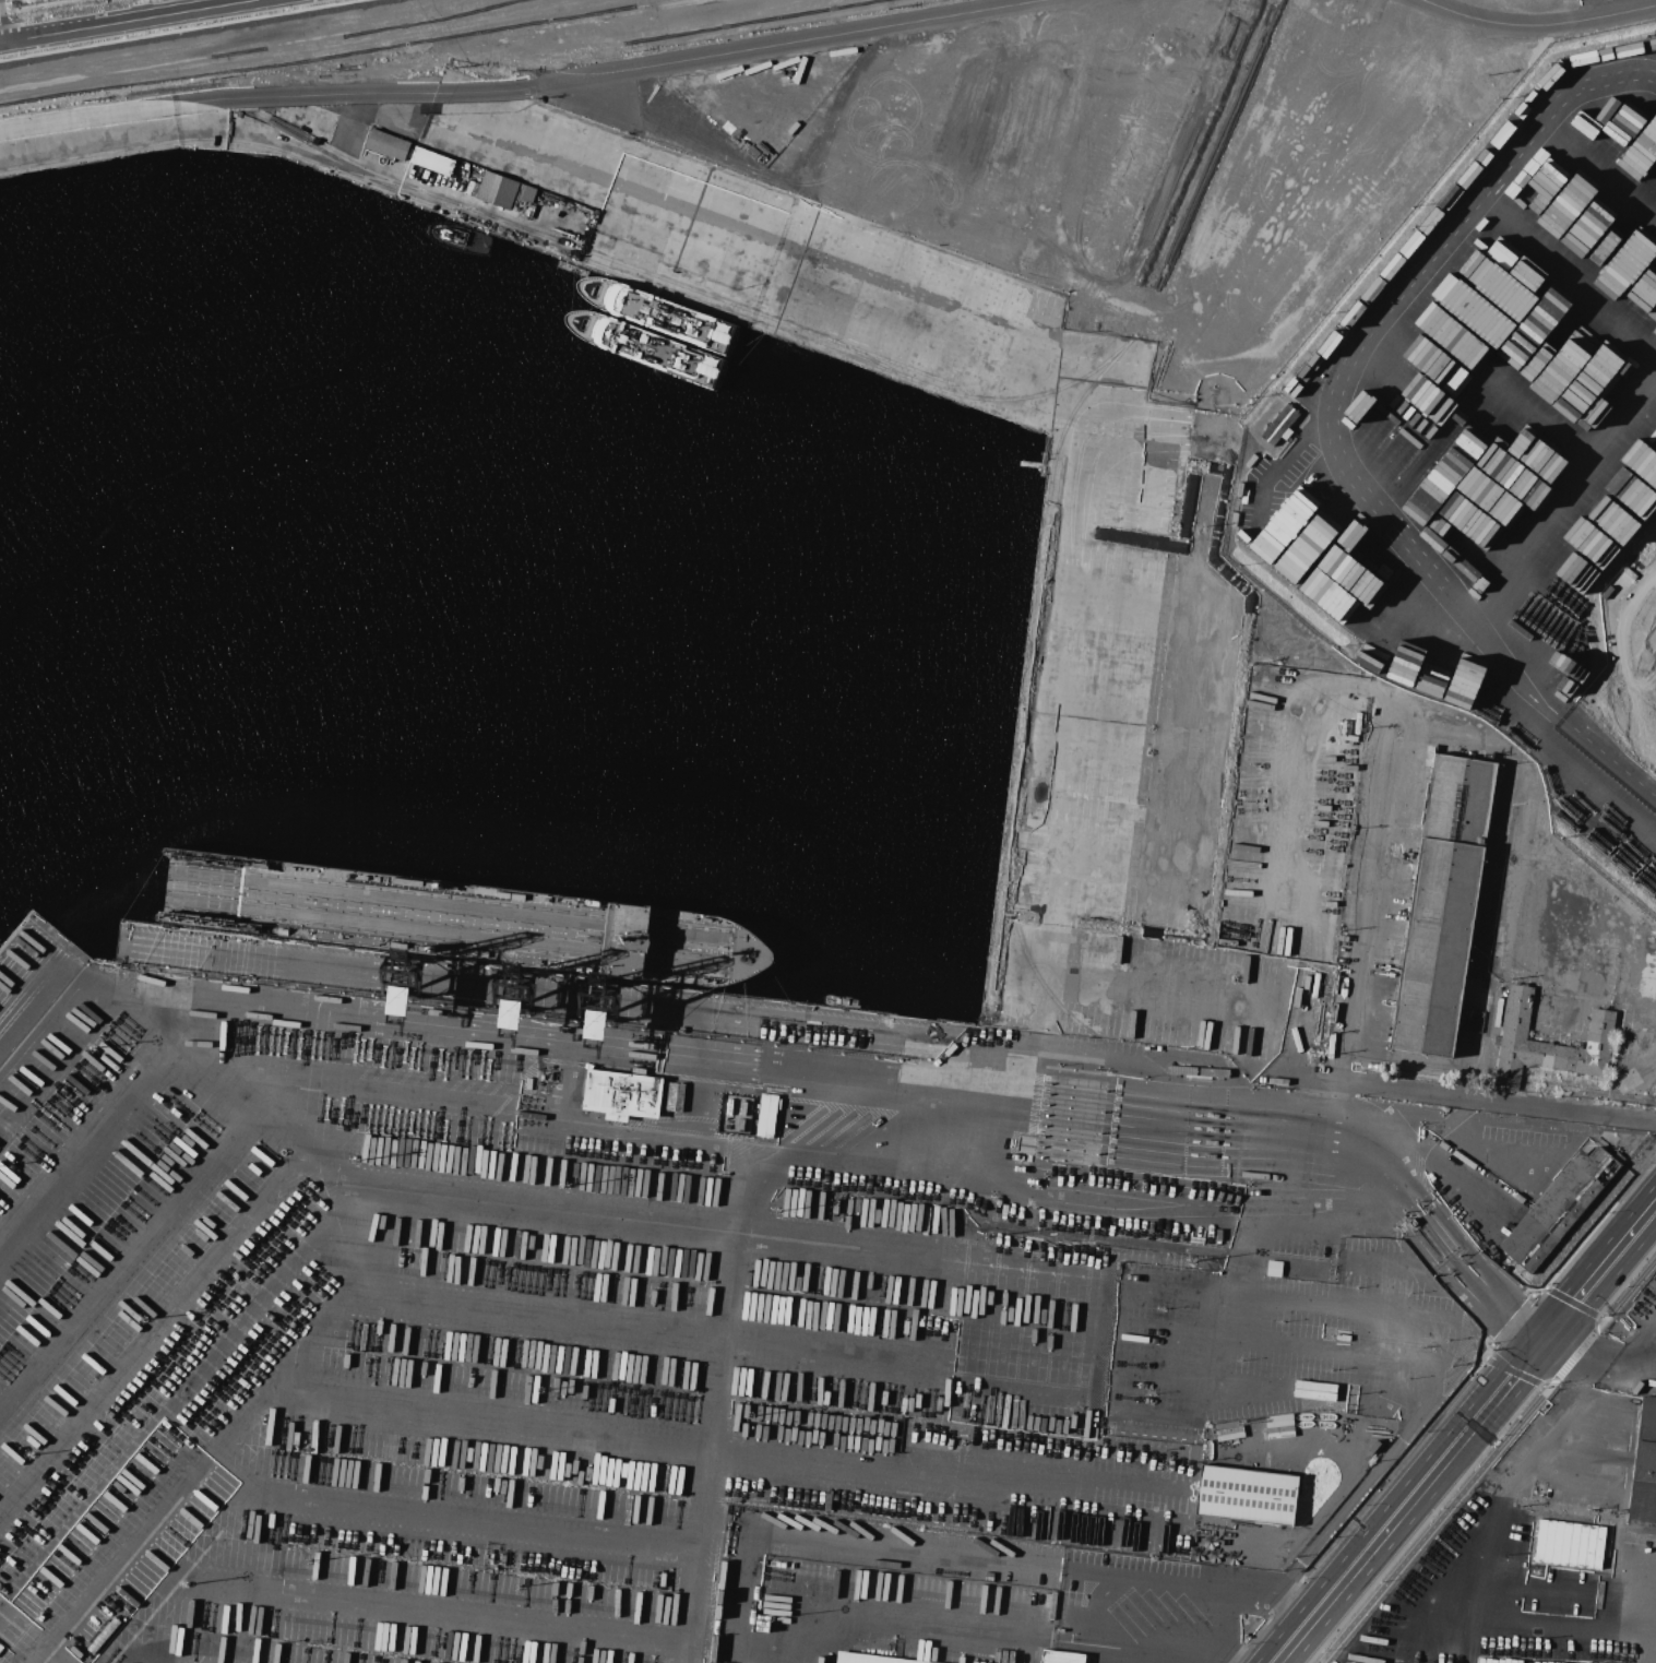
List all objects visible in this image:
road: (123, 21)
road: (1540, 24)
road: (0, 37)
road: (514, 88)
road: (843, 95)
road: (692, 135)
building: (389, 144)
building: (432, 161)
road: (402, 182)
building: (473, 188)
building: (498, 189)
building: (526, 192)
road: (650, 197)
road: (796, 240)
road: (1351, 353)
building: (1279, 424)
road: (1559, 495)
parking lot: (1641, 602)
road: (1653, 651)
road: (1651, 655)
road: (1653, 655)
road: (1621, 689)
road: (1604, 713)
parking lot: (1646, 732)
road: (1297, 740)
road: (1601, 750)
road: (1375, 890)
building: (1442, 905)
building: (627, 940)
building: (400, 1000)
building: (1515, 1021)
road: (85, 1022)
building: (594, 1025)
road: (517, 1041)
road: (1612, 1086)
building: (622, 1094)
building: (677, 1096)
road: (1458, 1097)
building: (767, 1115)
road: (507, 1124)
road: (103, 1129)
building: (1559, 1207)
road: (1646, 1212)
road: (701, 1227)
road: (369, 1238)
road: (1592, 1279)
road: (1631, 1287)
road: (1238, 1292)
road: (1496, 1302)
road: (1573, 1302)
road: (480, 1305)
road: (1348, 1305)
road: (1511, 1319)
traffic signals: (1546, 1334)
road: (1640, 1342)
road: (1577, 1353)
road: (1597, 1359)
road: (1514, 1371)
road: (9, 1378)
building: (1314, 1390)
road: (715, 1409)
road: (1397, 1438)
road: (727, 1442)
building: (1644, 1471)
building: (1247, 1495)
road: (1410, 1498)
road: (1497, 1510)
road: (470, 1517)
road: (1433, 1525)
building: (1572, 1540)
road: (1047, 1567)
road: (1118, 1576)
road: (1615, 1600)
road: (436, 1612)
road: (1472, 1615)
road: (967, 1629)
road: (28, 1640)
building: (1061, 1656)
building: (869, 1659)

